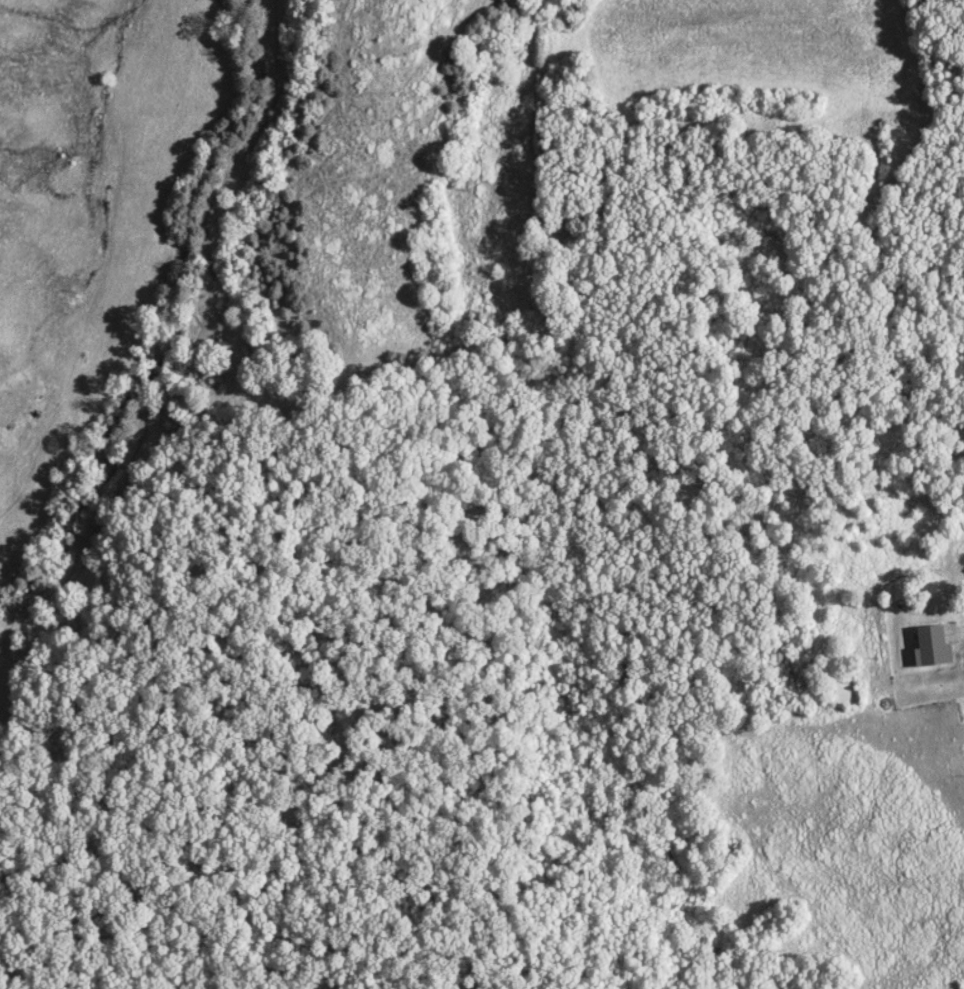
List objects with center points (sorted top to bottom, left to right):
building: (928, 648)

